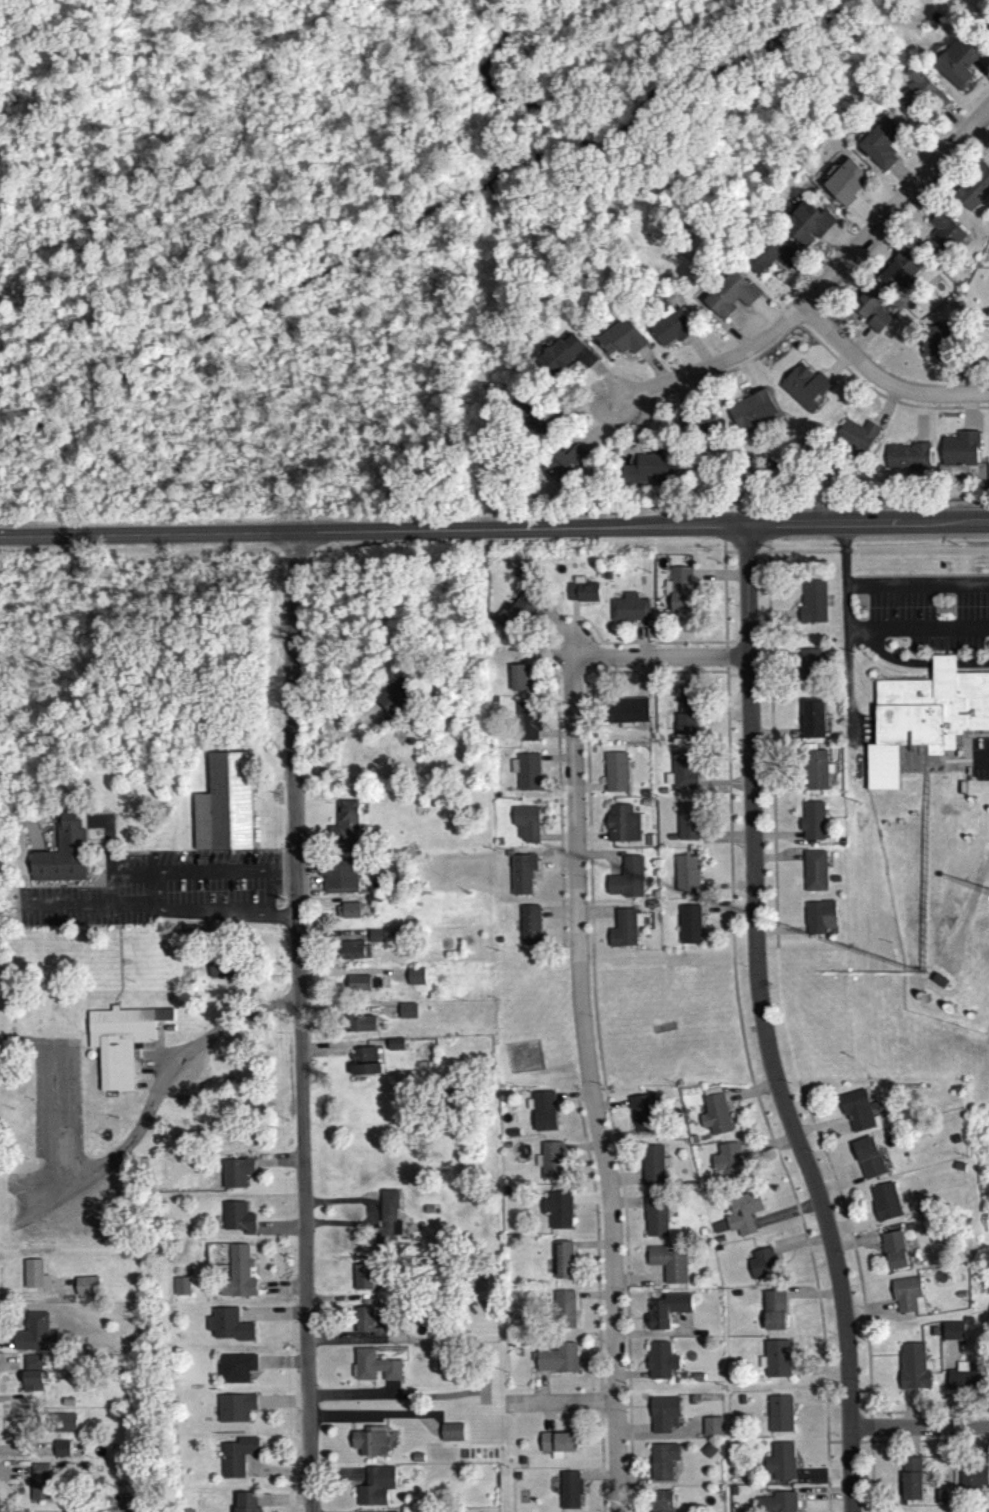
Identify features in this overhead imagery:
building: (988, 25)
building: (988, 32)
road: (42, 37)
building: (957, 66)
road: (982, 69)
building: (923, 97)
road: (953, 123)
road: (980, 140)
building: (879, 148)
road: (901, 179)
building: (845, 187)
building: (974, 189)
road: (921, 205)
road: (902, 214)
road: (861, 219)
building: (807, 227)
building: (943, 239)
road: (886, 242)
road: (838, 244)
building: (768, 258)
building: (900, 270)
road: (804, 278)
road: (819, 287)
building: (729, 299)
road: (805, 316)
road: (766, 317)
building: (873, 317)
road: (718, 326)
road: (794, 329)
building: (671, 332)
building: (622, 342)
road: (815, 345)
road: (860, 345)
building: (935, 345)
road: (698, 355)
building: (560, 359)
road: (586, 361)
road: (652, 370)
road: (837, 370)
road: (745, 378)
road: (880, 384)
road: (604, 385)
building: (804, 391)
road: (680, 399)
road: (885, 411)
building: (531, 416)
road: (579, 416)
building: (751, 416)
road: (968, 416)
road: (920, 422)
building: (698, 426)
road: (600, 431)
road: (639, 432)
building: (547, 436)
building: (856, 440)
building: (959, 453)
building: (907, 461)
building: (566, 465)
building: (648, 472)
road: (872, 506)
road: (955, 529)
road: (765, 530)
road: (831, 532)
road: (518, 536)
road: (146, 539)
road: (728, 555)
road: (919, 555)
road: (744, 556)
road: (795, 556)
road: (842, 556)
street lamp: (755, 561)
road: (743, 577)
road: (717, 578)
building: (680, 594)
building: (583, 596)
road: (723, 597)
building: (812, 606)
building: (629, 613)
building: (519, 615)
parking lot: (920, 620)
road: (771, 621)
road: (572, 633)
road: (868, 633)
road: (556, 634)
building: (399, 635)
road: (745, 642)
road: (640, 643)
road: (556, 649)
road: (572, 651)
road: (539, 655)
road: (724, 659)
road: (628, 661)
road: (715, 662)
road: (771, 662)
parking lot: (971, 667)
building: (809, 673)
road: (654, 677)
road: (566, 678)
road: (846, 681)
street lamp: (559, 682)
road: (639, 682)
road: (686, 683)
road: (377, 684)
building: (525, 685)
road: (555, 691)
building: (396, 700)
building: (625, 715)
building: (684, 721)
building: (812, 722)
building: (923, 725)
building: (527, 726)
road: (340, 731)
road: (773, 737)
road: (555, 738)
road: (770, 748)
road: (774, 754)
road: (556, 762)
parking lot: (979, 763)
building: (816, 774)
building: (614, 775)
building: (527, 776)
building: (682, 776)
road: (909, 784)
road: (722, 789)
road: (588, 792)
building: (224, 809)
building: (811, 825)
building: (526, 826)
building: (687, 826)
building: (621, 828)
building: (345, 832)
road: (44, 833)
road: (321, 836)
road: (776, 839)
road: (33, 840)
road: (108, 840)
road: (590, 840)
road: (724, 840)
road: (556, 843)
road: (310, 850)
street lamp: (740, 852)
building: (62, 857)
road: (601, 859)
road: (776, 861)
road: (555, 867)
building: (813, 874)
road: (159, 876)
building: (521, 877)
building: (685, 878)
road: (133, 880)
building: (338, 881)
building: (626, 883)
road: (309, 890)
road: (724, 890)
road: (110, 895)
parking lot: (166, 895)
road: (60, 898)
building: (373, 902)
road: (331, 904)
parking lot: (715, 908)
road: (92, 911)
road: (280, 914)
building: (349, 914)
road: (725, 914)
road: (594, 916)
road: (556, 917)
road: (574, 917)
road: (116, 920)
road: (754, 920)
building: (818, 921)
road: (610, 922)
road: (701, 923)
road: (541, 926)
road: (802, 926)
building: (689, 928)
building: (529, 930)
building: (623, 933)
road: (218, 935)
road: (778, 935)
building: (376, 940)
building: (396, 940)
road: (332, 941)
building: (354, 956)
building: (221, 968)
road: (119, 973)
road: (352, 975)
road: (260, 980)
road: (292, 980)
building: (415, 980)
building: (939, 985)
building: (359, 987)
building: (922, 1001)
road: (664, 1010)
building: (948, 1013)
road: (348, 1014)
building: (406, 1015)
building: (969, 1019)
road: (299, 1025)
building: (360, 1027)
road: (594, 1030)
building: (662, 1032)
building: (121, 1046)
building: (395, 1048)
road: (332, 1054)
road: (158, 1055)
building: (523, 1061)
parking lot: (150, 1067)
building: (364, 1067)
road: (193, 1084)
road: (587, 1087)
road: (773, 1092)
building: (954, 1093)
road: (753, 1094)
building: (667, 1095)
road: (748, 1096)
road: (588, 1105)
parking lot: (55, 1106)
road: (609, 1109)
road: (727, 1110)
building: (856, 1114)
building: (543, 1115)
road: (838, 1115)
road: (627, 1116)
building: (642, 1116)
building: (715, 1119)
road: (819, 1129)
parking lot: (837, 1134)
building: (513, 1137)
building: (954, 1143)
road: (134, 1145)
building: (506, 1149)
road: (766, 1150)
building: (868, 1162)
building: (551, 1165)
building: (728, 1166)
road: (278, 1167)
building: (652, 1169)
building: (959, 1171)
road: (846, 1175)
building: (235, 1177)
road: (884, 1179)
road: (32, 1186)
road: (2, 1188)
road: (838, 1189)
building: (885, 1207)
building: (557, 1213)
building: (428, 1214)
building: (742, 1216)
road: (366, 1217)
road: (784, 1217)
building: (655, 1219)
building: (236, 1221)
building: (386, 1227)
road: (279, 1228)
road: (373, 1228)
road: (850, 1228)
building: (702, 1236)
road: (594, 1241)
building: (719, 1243)
road: (854, 1247)
road: (799, 1248)
road: (852, 1250)
building: (718, 1253)
building: (893, 1255)
building: (563, 1264)
building: (668, 1268)
building: (763, 1268)
building: (38, 1272)
building: (238, 1278)
building: (362, 1280)
building: (89, 1283)
road: (352, 1285)
building: (181, 1290)
road: (281, 1291)
road: (352, 1293)
building: (735, 1297)
building: (905, 1298)
building: (960, 1298)
road: (593, 1299)
road: (812, 1299)
road: (344, 1302)
road: (576, 1308)
building: (564, 1313)
road: (869, 1313)
building: (667, 1314)
building: (774, 1315)
road: (272, 1318)
building: (967, 1325)
building: (366, 1327)
building: (230, 1328)
road: (388, 1328)
road: (352, 1335)
building: (933, 1335)
building: (953, 1336)
building: (35, 1337)
road: (363, 1344)
building: (557, 1362)
road: (587, 1363)
building: (777, 1363)
building: (660, 1365)
road: (282, 1367)
building: (374, 1370)
building: (913, 1371)
building: (235, 1372)
building: (481, 1373)
road: (818, 1375)
road: (256, 1376)
road: (547, 1377)
fountain: (337, 1380)
building: (697, 1382)
building: (34, 1385)
building: (965, 1385)
road: (945, 1386)
road: (355, 1387)
road: (823, 1388)
road: (540, 1390)
road: (612, 1391)
road: (624, 1391)
road: (725, 1391)
road: (371, 1392)
road: (390, 1392)
road: (601, 1392)
road: (628, 1393)
road: (482, 1394)
road: (470, 1396)
parking lot: (481, 1396)
road: (485, 1397)
road: (355, 1399)
road: (491, 1400)
road: (433, 1401)
road: (482, 1401)
road: (627, 1401)
road: (819, 1403)
road: (498, 1404)
road: (559, 1404)
building: (691, 1404)
building: (740, 1404)
road: (599, 1405)
road: (283, 1406)
building: (235, 1411)
road: (639, 1411)
road: (912, 1412)
road: (611, 1414)
road: (929, 1416)
building: (663, 1418)
building: (779, 1418)
building: (68, 1419)
road: (473, 1419)
road: (438, 1420)
road: (547, 1420)
road: (373, 1421)
road: (573, 1421)
parking lot: (366, 1423)
road: (385, 1425)
building: (63, 1427)
road: (566, 1428)
road: (918, 1430)
road: (429, 1431)
building: (712, 1431)
road: (633, 1432)
road: (869, 1432)
road: (350, 1435)
building: (451, 1437)
road: (668, 1440)
street lamp: (884, 1442)
building: (64, 1445)
building: (370, 1446)
building: (557, 1446)
road: (832, 1446)
road: (847, 1446)
road: (929, 1446)
road: (538, 1447)
road: (866, 1447)
road: (913, 1447)
road: (981, 1450)
building: (64, 1453)
building: (708, 1454)
building: (236, 1461)
road: (629, 1461)
building: (416, 1462)
road: (600, 1463)
building: (521, 1464)
building: (662, 1465)
building: (780, 1466)
flagpole: (278, 1468)
road: (246, 1473)
road: (821, 1476)
road: (272, 1477)
building: (43, 1479)
road: (337, 1479)
road: (870, 1479)
road: (598, 1480)
road: (634, 1480)
building: (972, 1480)
building: (516, 1481)
road: (356, 1482)
building: (912, 1484)
road: (356, 1491)
building: (376, 1491)
building: (569, 1493)
building: (733, 1495)
road: (822, 1501)
building: (662, 1503)
building: (245, 1504)
road: (283, 1504)
building: (776, 1505)
road: (261, 1508)

